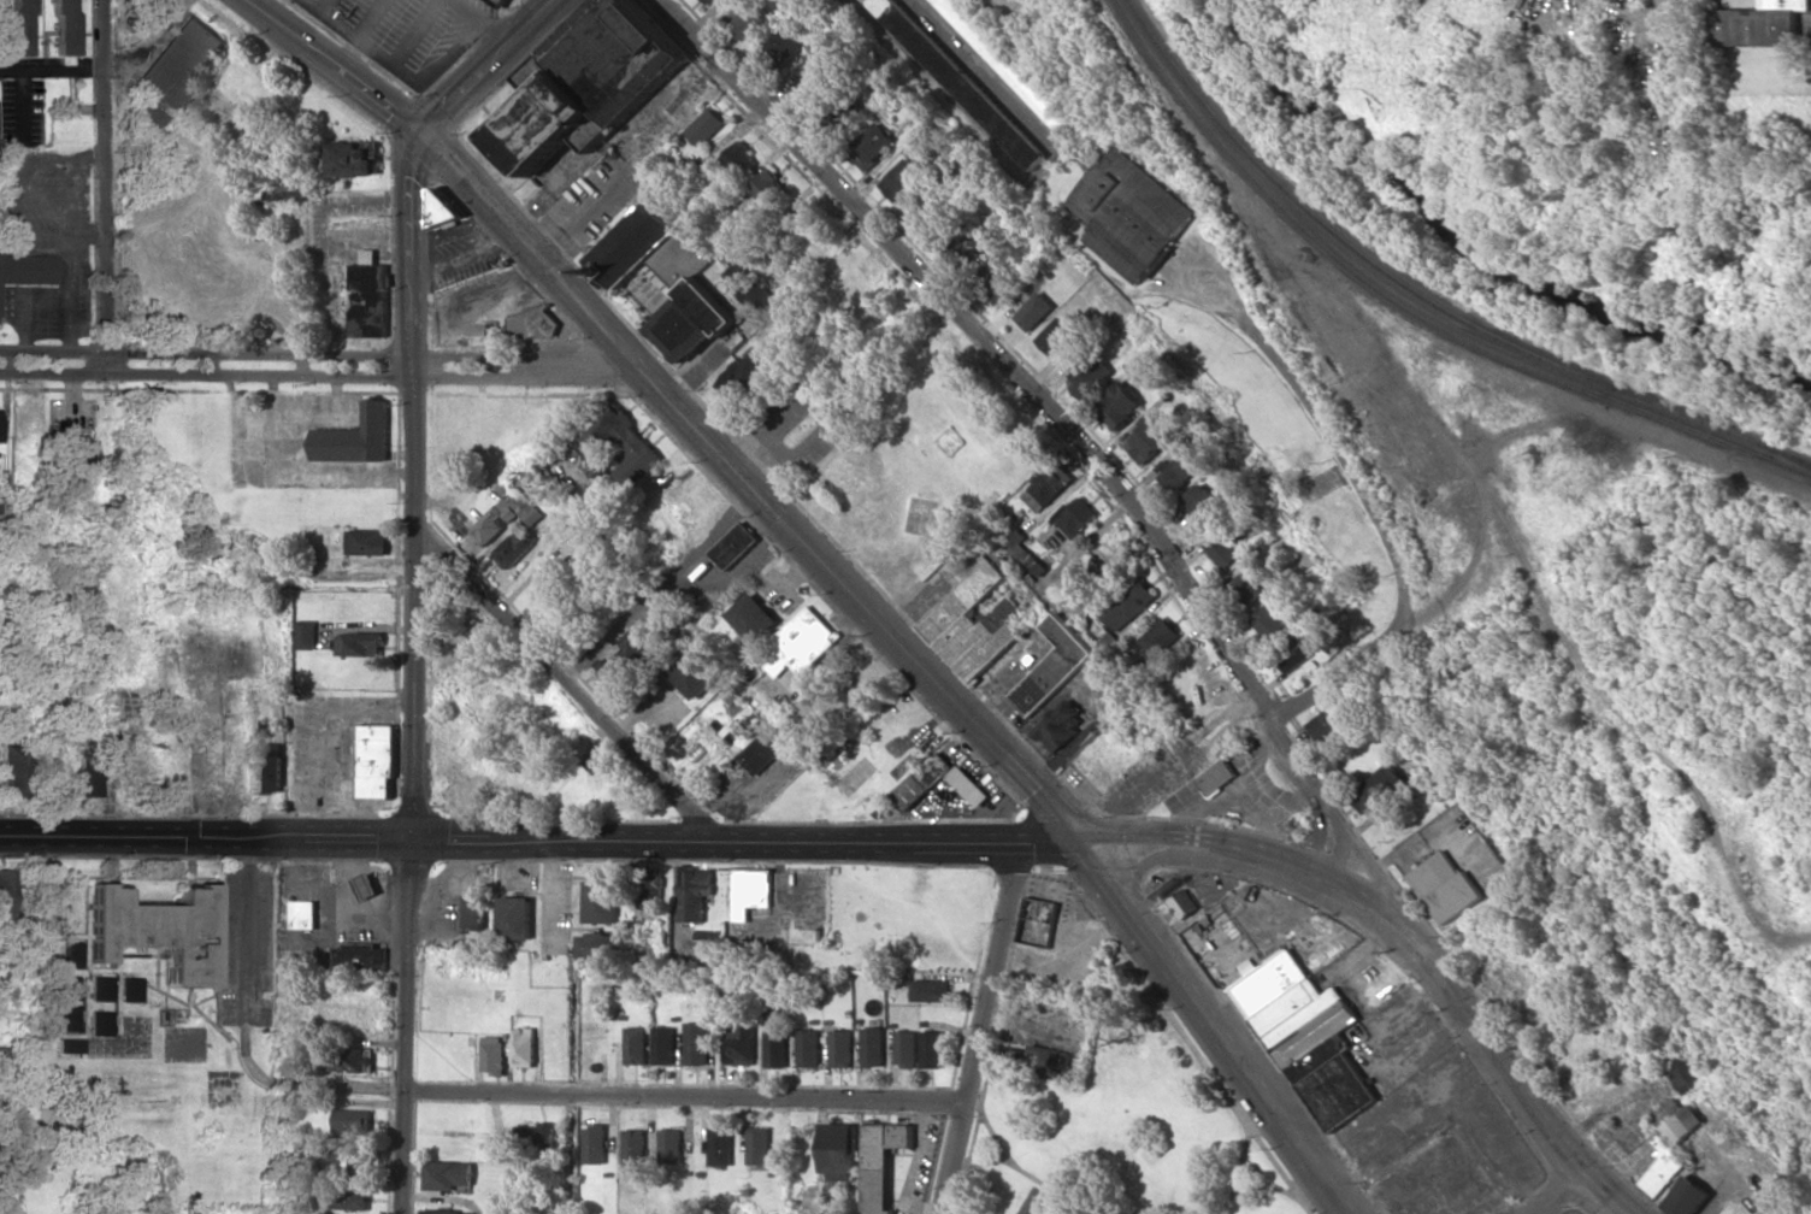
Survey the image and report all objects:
building: (508, 0)
building: (708, 1)
building: (500, 2)
road: (324, 6)
road: (370, 19)
building: (748, 19)
road: (489, 22)
building: (1756, 24)
building: (63, 26)
building: (17, 28)
parking lot: (407, 31)
road: (415, 33)
building: (780, 51)
building: (178, 60)
building: (1009, 65)
road: (495, 69)
road: (332, 70)
road: (397, 70)
building: (958, 81)
building: (589, 82)
building: (814, 84)
building: (842, 113)
building: (149, 117)
building: (706, 126)
traffic signals: (425, 140)
building: (868, 146)
building: (349, 159)
building: (741, 159)
road: (623, 171)
building: (901, 178)
road: (106, 181)
building: (767, 188)
building: (288, 191)
building: (443, 208)
building: (932, 210)
building: (1127, 213)
road: (454, 229)
building: (975, 238)
road: (412, 251)
road: (530, 252)
road: (464, 255)
parking lot: (464, 259)
building: (26, 269)
building: (666, 277)
building: (990, 283)
building: (750, 288)
railway: (1424, 295)
building: (367, 297)
railway: (1411, 311)
building: (1034, 312)
building: (532, 323)
building: (1055, 335)
road: (206, 363)
road: (524, 365)
building: (745, 372)
building: (1089, 376)
building: (1119, 406)
building: (355, 437)
building: (1146, 438)
road: (895, 443)
building: (596, 446)
road: (1089, 448)
building: (71, 454)
railway: (1789, 455)
building: (1176, 467)
building: (1043, 489)
building: (1199, 499)
building: (507, 515)
building: (1074, 517)
road: (1376, 523)
building: (365, 542)
building: (736, 546)
building: (513, 549)
building: (1022, 552)
building: (1222, 553)
road: (342, 578)
road: (660, 585)
building: (1247, 588)
building: (549, 589)
road: (857, 602)
building: (1126, 606)
building: (753, 617)
building: (973, 617)
building: (1267, 621)
building: (305, 635)
building: (1155, 641)
building: (802, 642)
building: (359, 644)
building: (1292, 654)
building: (621, 665)
building: (1052, 667)
building: (694, 674)
road: (567, 684)
building: (1327, 723)
building: (260, 729)
building: (1066, 735)
building: (765, 748)
building: (600, 760)
building: (376, 761)
building: (12, 767)
building: (267, 768)
building: (85, 777)
building: (1216, 777)
building: (919, 784)
building: (1378, 788)
road: (414, 789)
road: (538, 842)
traffic signals: (415, 843)
building: (366, 885)
building: (1445, 886)
building: (751, 891)
building: (694, 894)
building: (4, 896)
building: (600, 902)
building: (1182, 903)
building: (49, 907)
building: (301, 914)
building: (473, 915)
building: (513, 918)
building: (1037, 921)
building: (158, 931)
road: (247, 931)
road: (1403, 938)
building: (597, 945)
parking lot: (246, 947)
building: (69, 955)
building: (358, 957)
building: (1247, 967)
building: (66, 988)
building: (100, 989)
building: (129, 990)
building: (930, 990)
building: (66, 1019)
building: (100, 1023)
road: (1211, 1027)
road: (981, 1031)
building: (1308, 1037)
building: (695, 1043)
building: (738, 1044)
building: (523, 1045)
building: (635, 1045)
building: (662, 1045)
building: (61, 1047)
building: (872, 1047)
building: (839, 1048)
building: (774, 1049)
building: (807, 1049)
building: (904, 1049)
building: (931, 1049)
building: (491, 1054)
building: (349, 1060)
building: (1046, 1060)
building: (1689, 1074)
road: (686, 1098)
building: (1677, 1119)
building: (350, 1120)
park: (1120, 1130)
building: (538, 1136)
building: (594, 1144)
building: (757, 1145)
building: (669, 1147)
building: (719, 1147)
building: (633, 1148)
building: (837, 1151)
building: (352, 1162)
building: (880, 1162)
building: (1662, 1168)
building: (446, 1175)
road: (1561, 1194)
building: (1686, 1197)
building: (349, 1198)
building: (444, 1212)

